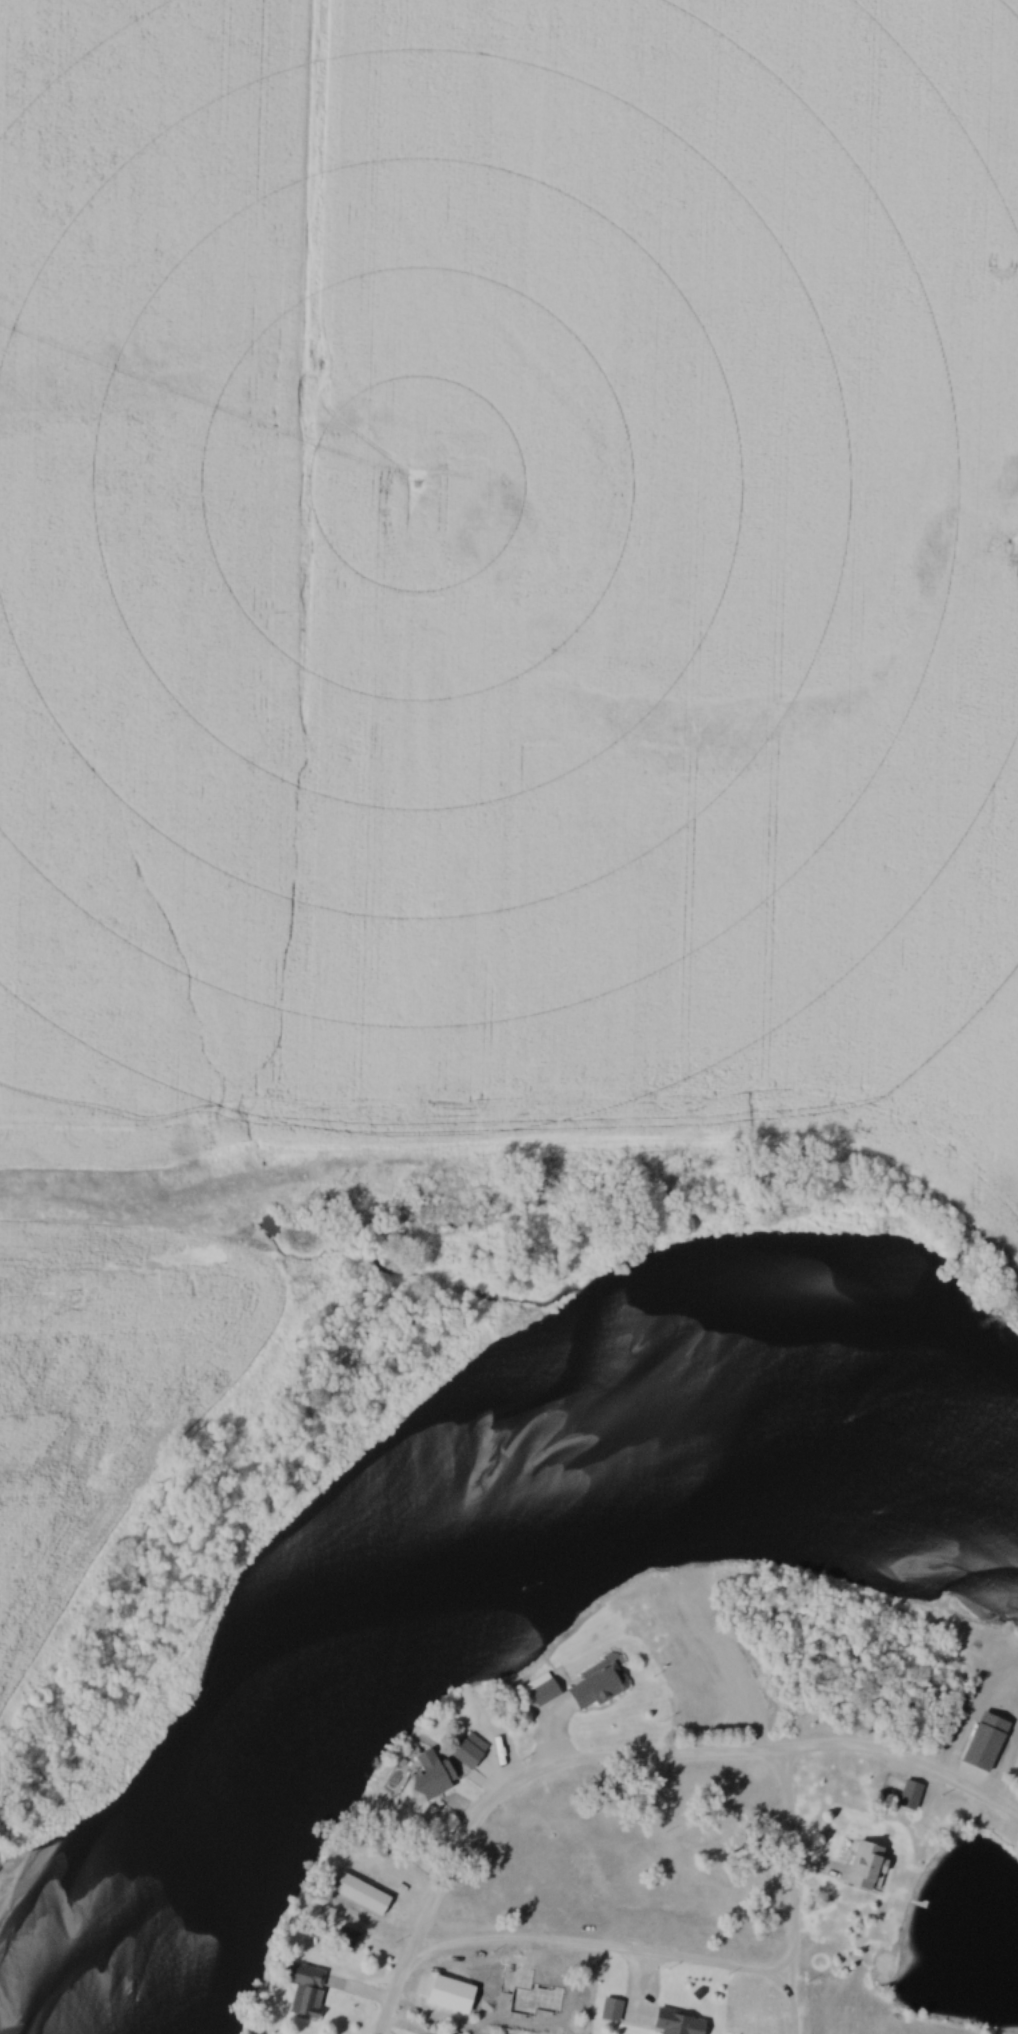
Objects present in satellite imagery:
river: (456, 1558)
building: (594, 1687)
building: (539, 1689)
building: (466, 1750)
road: (625, 1755)
road: (789, 1761)
building: (428, 1775)
building: (907, 1794)
building: (860, 1865)
building: (358, 1893)
road: (792, 1900)
road: (583, 1942)
road: (790, 1979)
building: (304, 1995)
building: (609, 2010)
building: (674, 2023)

